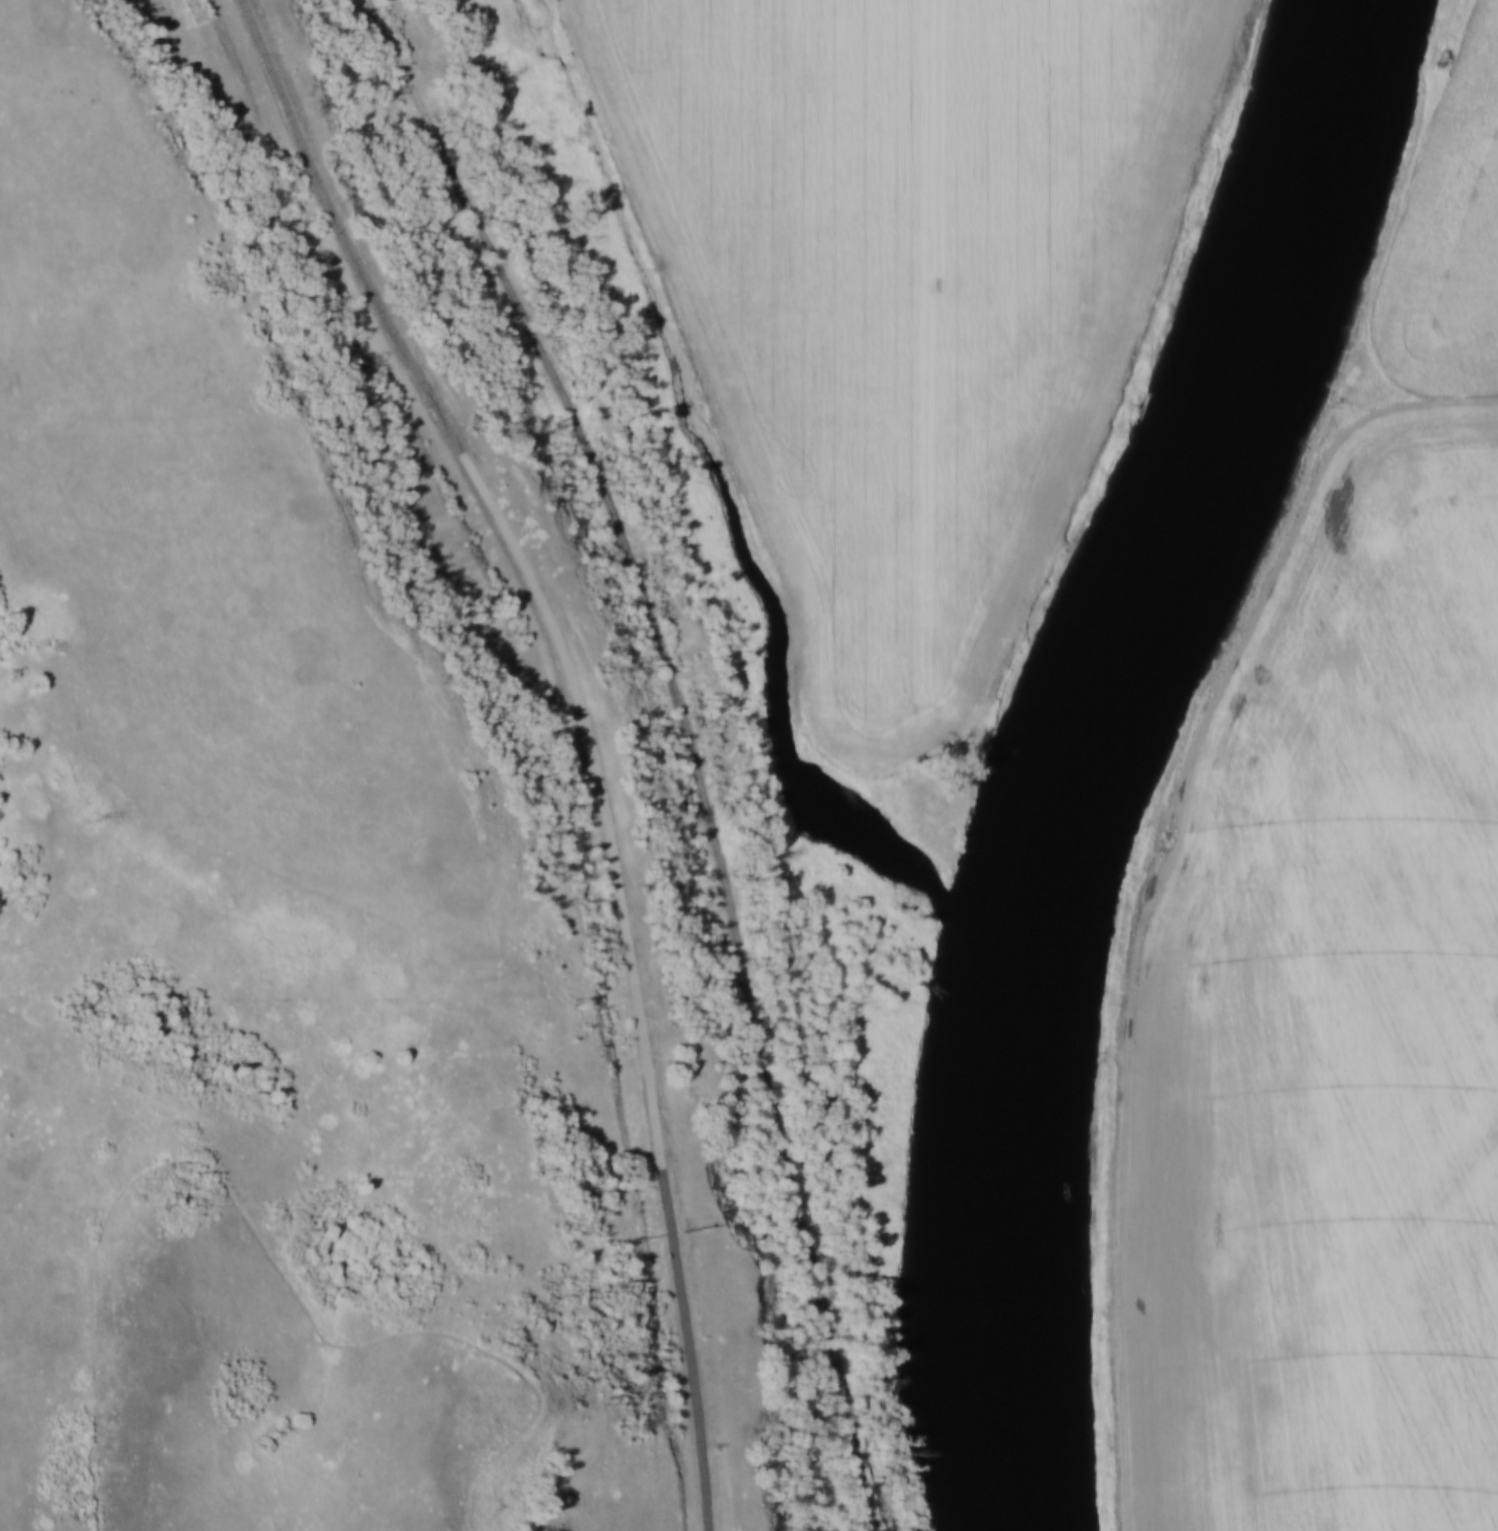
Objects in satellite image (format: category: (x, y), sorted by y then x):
road: (592, 730)
railway: (694, 742)
river: (1088, 750)
park: (505, 1269)

